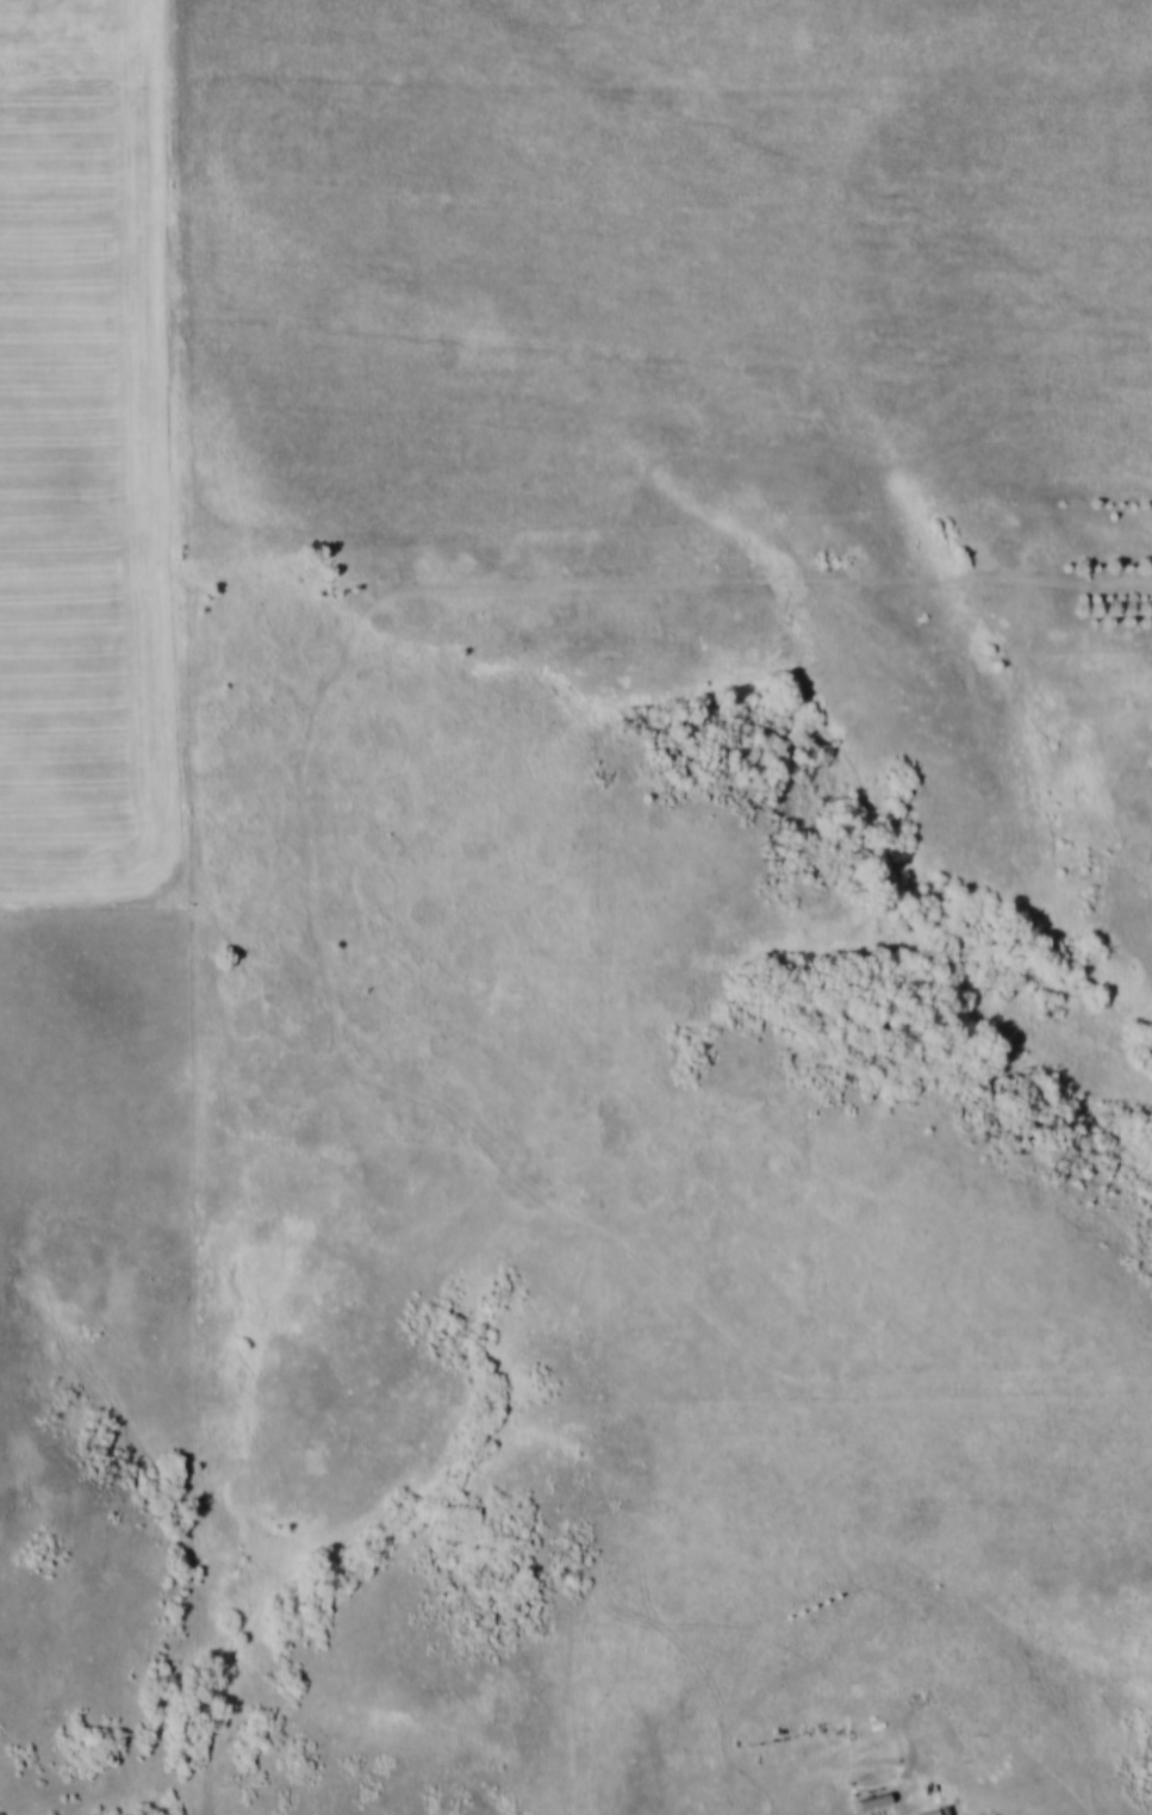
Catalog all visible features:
road: (1092, 524)

